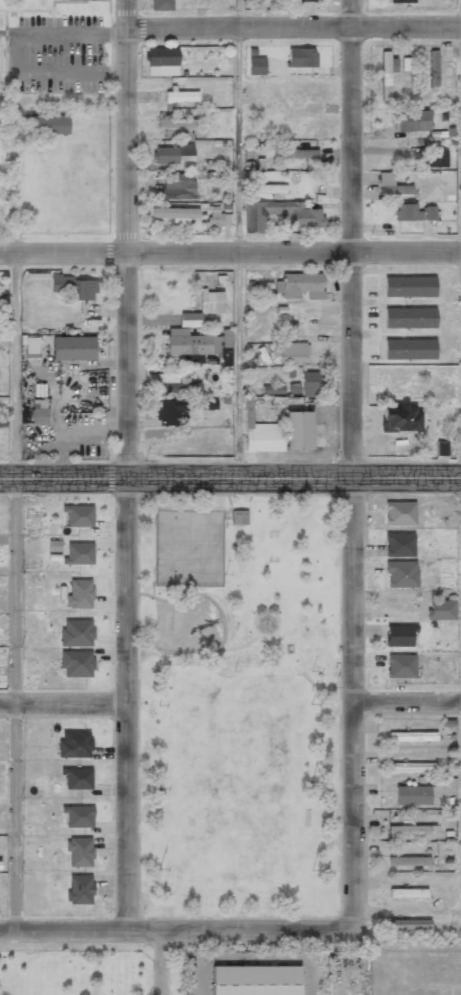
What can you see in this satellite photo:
building: (81, 0)
building: (307, 0)
building: (401, 1)
building: (162, 5)
road: (295, 25)
building: (301, 57)
building: (162, 61)
building: (408, 64)
building: (256, 65)
building: (433, 68)
building: (387, 73)
building: (411, 121)
building: (48, 123)
building: (176, 126)
building: (175, 153)
building: (436, 158)
building: (312, 167)
building: (392, 185)
building: (174, 186)
building: (271, 188)
building: (414, 212)
building: (175, 214)
building: (218, 218)
building: (302, 220)
road: (239, 239)
road: (355, 239)
road: (230, 256)
building: (299, 285)
building: (73, 287)
building: (211, 301)
building: (190, 319)
building: (191, 344)
building: (31, 347)
building: (226, 347)
building: (73, 348)
building: (290, 352)
road: (15, 365)
building: (311, 383)
building: (176, 384)
building: (208, 403)
building: (39, 412)
building: (172, 412)
building: (400, 419)
building: (298, 430)
building: (264, 437)
building: (441, 447)
road: (126, 465)
road: (230, 479)
building: (79, 515)
park: (187, 547)
building: (79, 553)
building: (401, 573)
road: (354, 590)
building: (79, 593)
building: (441, 609)
building: (77, 632)
building: (399, 635)
building: (77, 663)
building: (401, 666)
road: (408, 701)
road: (62, 703)
road: (16, 704)
park: (239, 706)
building: (412, 736)
building: (75, 744)
building: (412, 767)
building: (77, 778)
building: (412, 795)
road: (355, 814)
building: (79, 816)
building: (412, 829)
building: (80, 851)
building: (409, 861)
building: (80, 889)
building: (407, 892)
road: (409, 907)
building: (409, 924)
road: (292, 929)
road: (62, 931)
park: (76, 970)
building: (255, 980)

